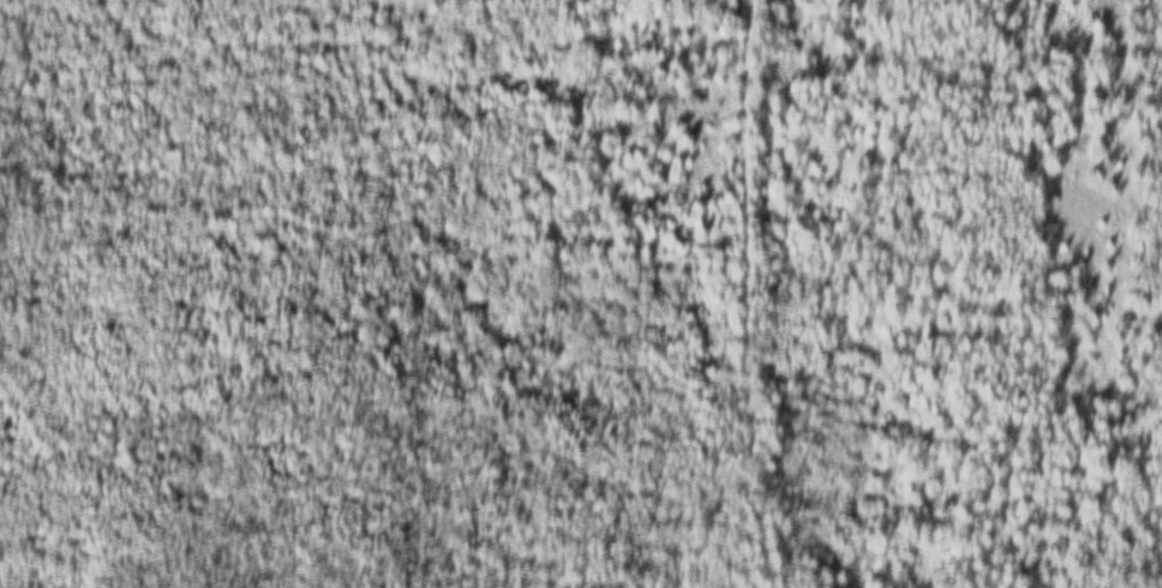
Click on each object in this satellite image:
road: (748, 295)

